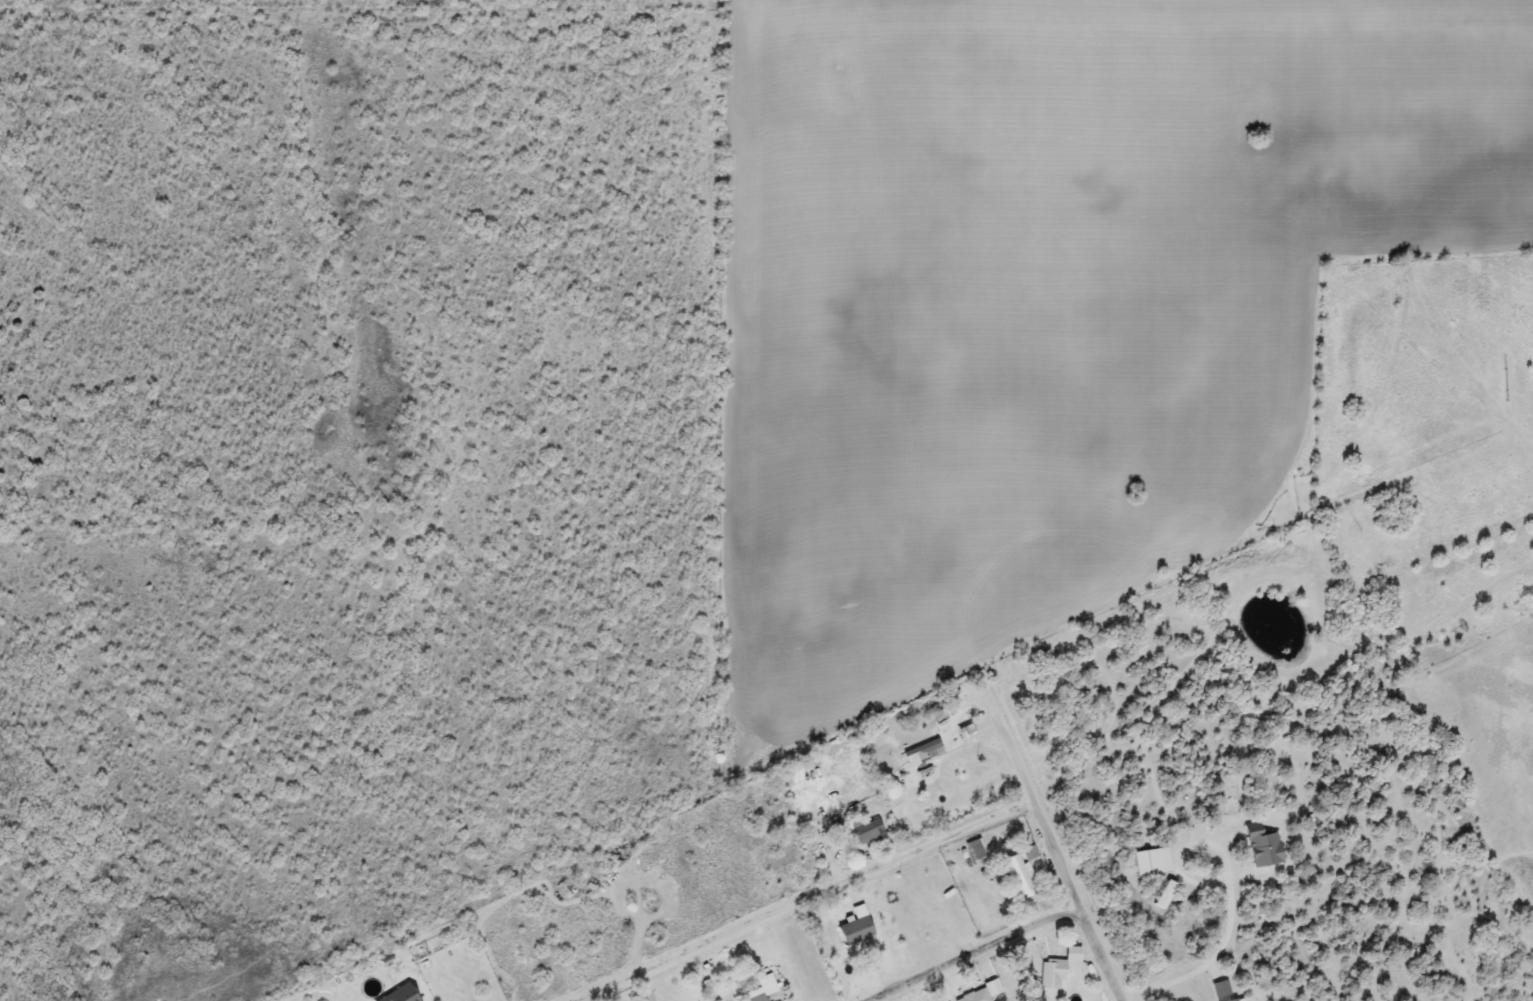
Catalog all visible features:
building: (921, 753)
building: (866, 832)
road: (939, 841)
building: (1260, 846)
road: (1184, 847)
building: (1149, 862)
building: (1020, 873)
road: (1077, 901)
building: (854, 927)
road: (709, 941)
road: (969, 951)
road: (1211, 963)
building: (1054, 974)
building: (763, 986)
building: (398, 995)
building: (975, 996)

